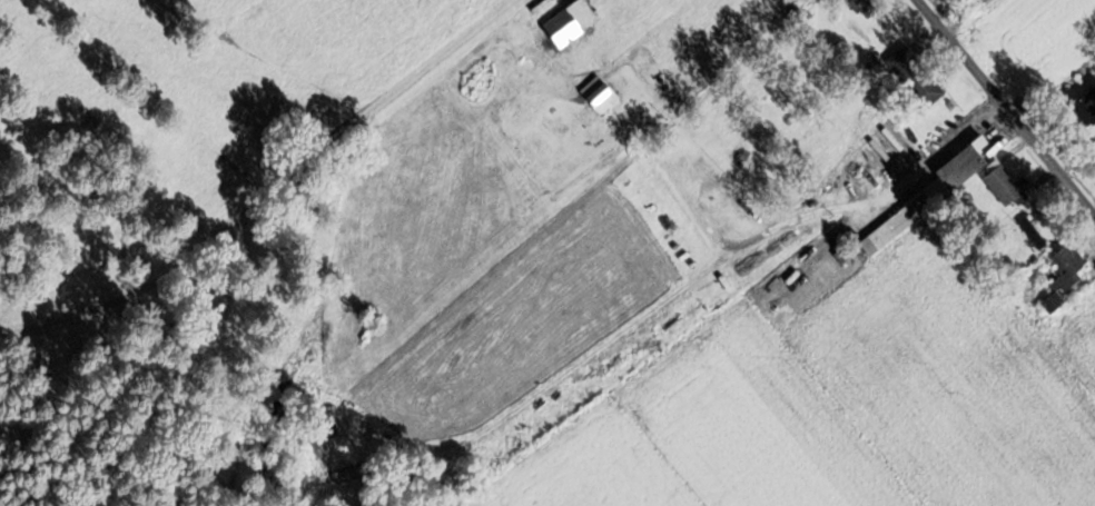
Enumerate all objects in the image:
building: (862, 7)
building: (573, 22)
building: (917, 77)
building: (601, 93)
building: (1087, 108)
road: (1005, 109)
building: (946, 192)
building: (1033, 234)
building: (1066, 276)

